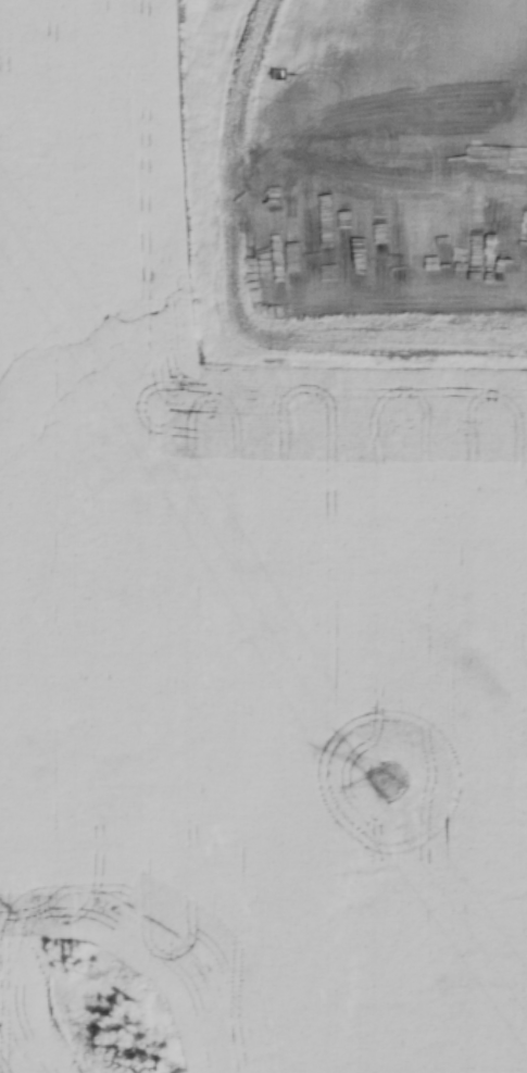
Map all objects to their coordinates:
power tower: (386, 783)

